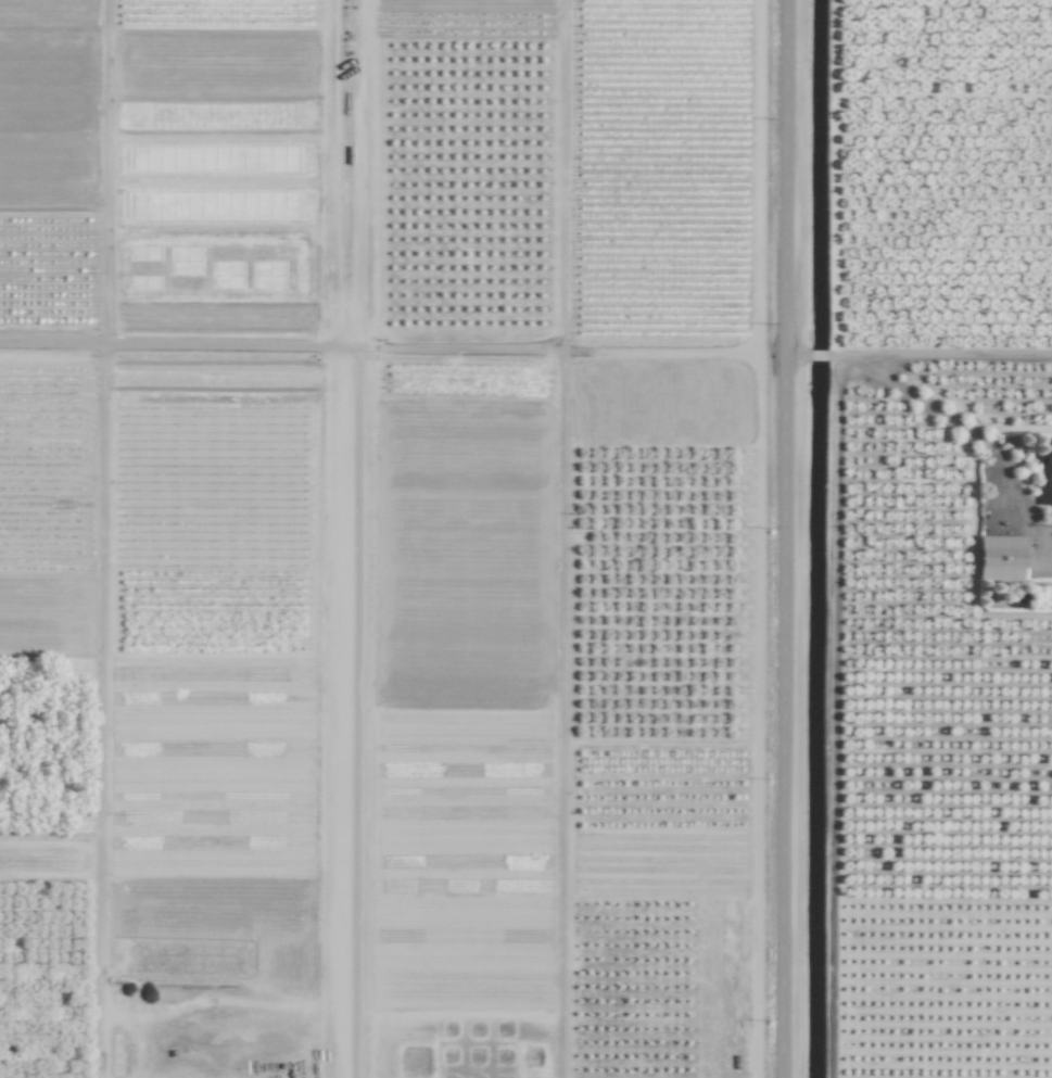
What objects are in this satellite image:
road: (393, 345)
road: (937, 353)
road: (797, 355)
road: (815, 355)
road: (980, 439)
building: (1044, 471)
airport runway: (345, 538)
road: (786, 538)
building: (999, 558)
road: (100, 710)
road: (561, 715)

